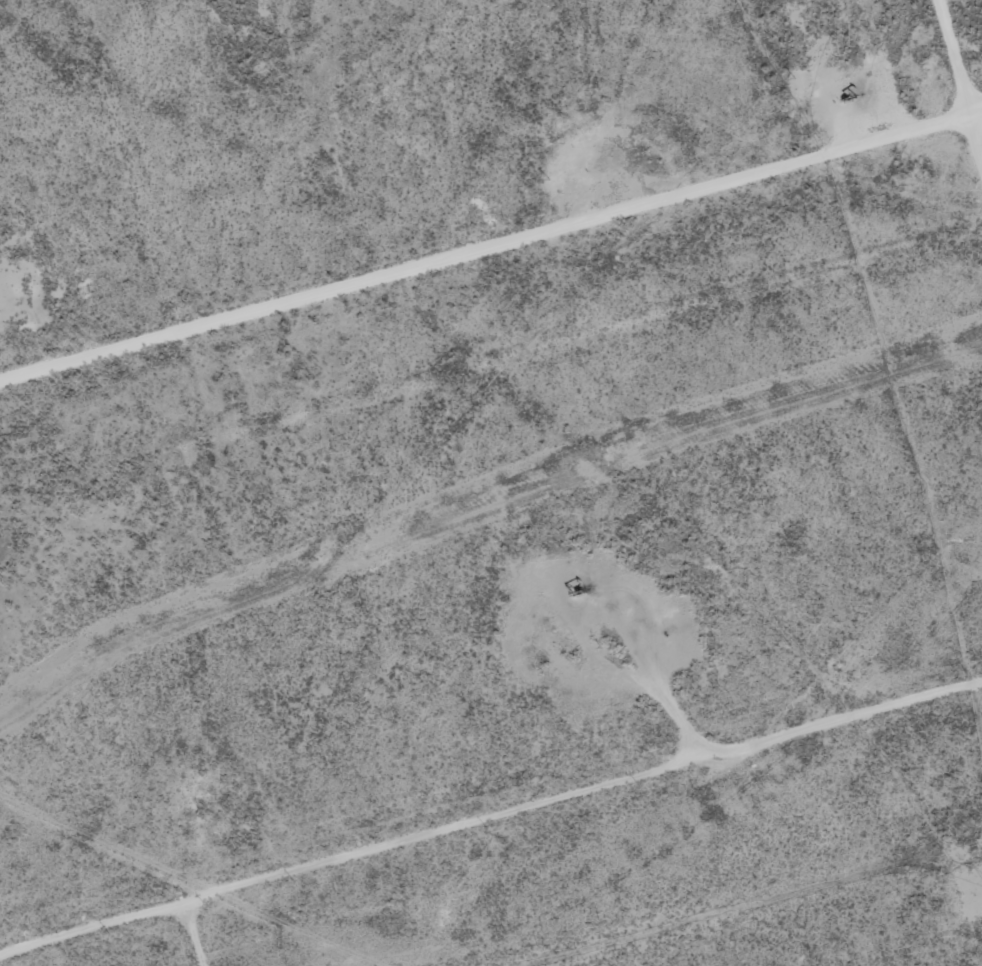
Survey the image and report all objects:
road: (933, 177)
road: (490, 264)

